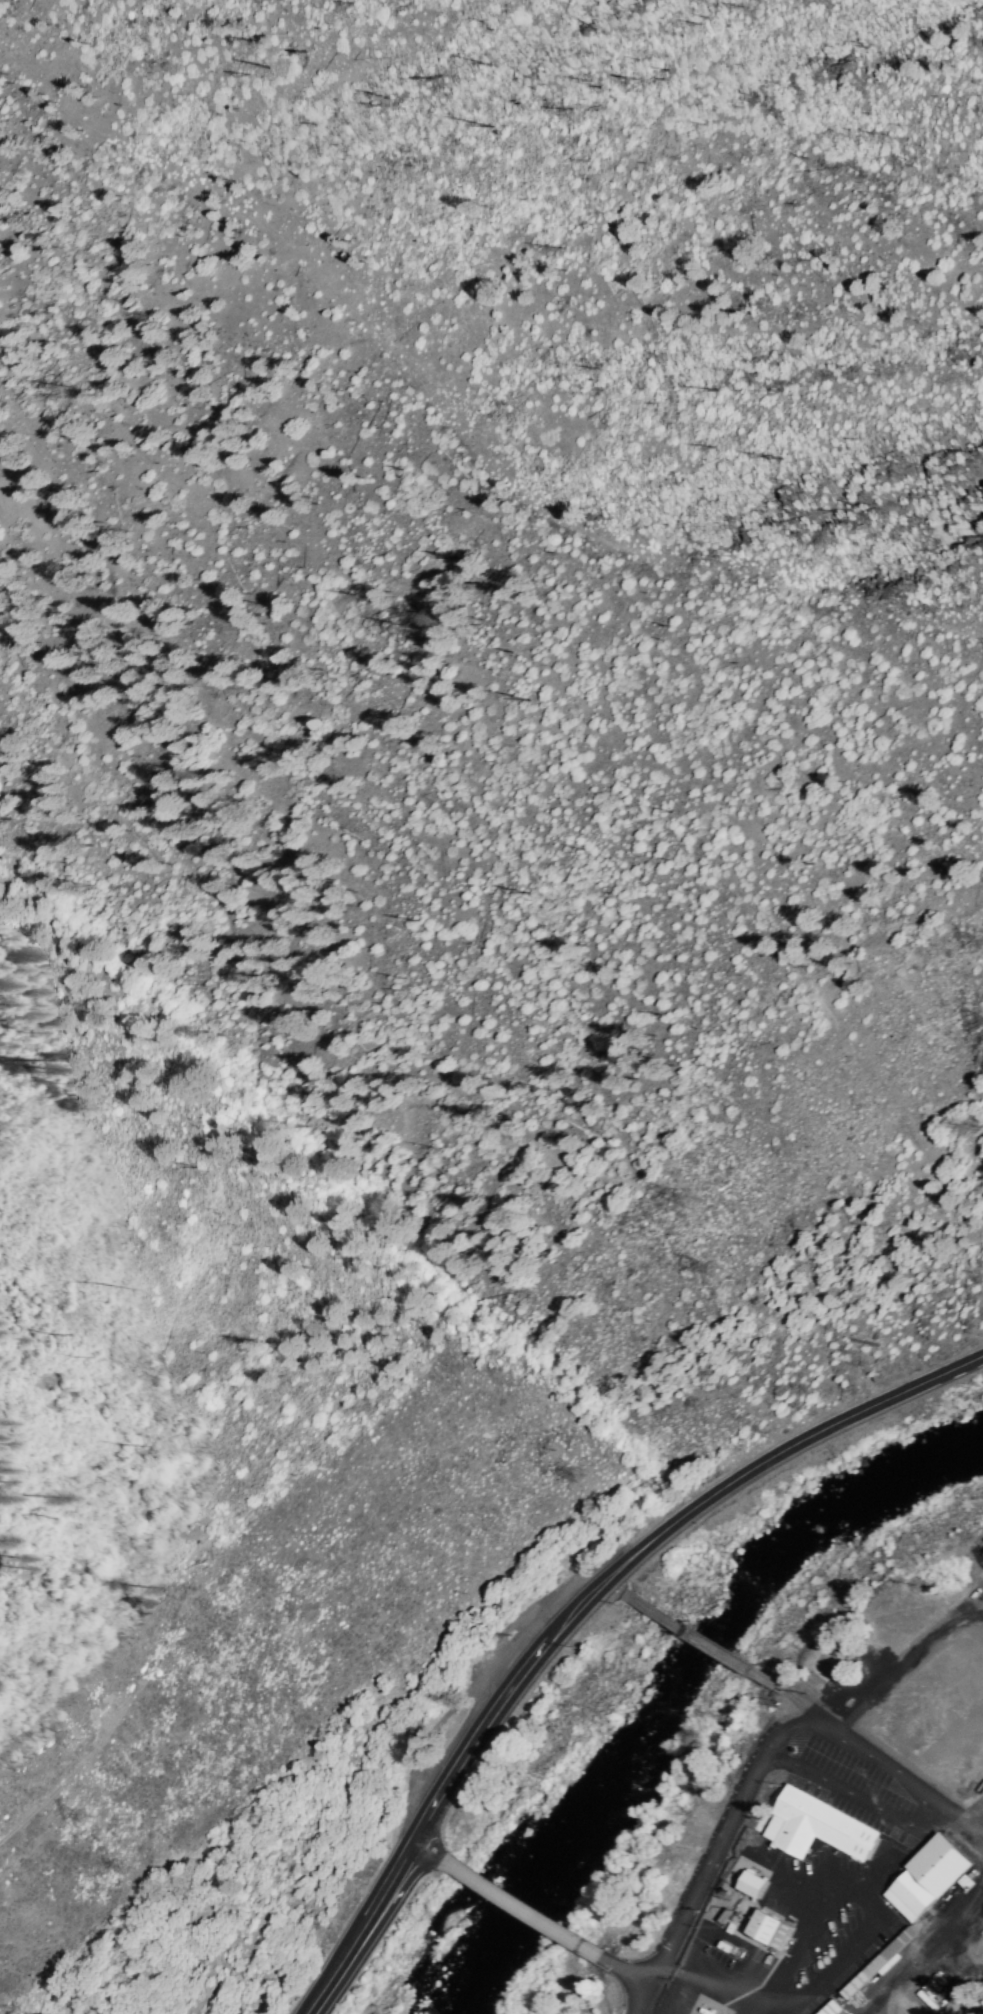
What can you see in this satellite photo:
power tower: (691, 1202)
power tower: (716, 1270)
road: (772, 1458)
power tower: (574, 1477)
river: (846, 1506)
road: (615, 1587)
road: (699, 1638)
road: (906, 1665)
road: (805, 1706)
power tower: (66, 1738)
road: (448, 1781)
road: (922, 1794)
road: (430, 1796)
road: (443, 1804)
road: (968, 1812)
river: (596, 1813)
power tower: (82, 1816)
building: (817, 1825)
road: (955, 1831)
road: (430, 1849)
power tower: (120, 1864)
building: (939, 1866)
building: (754, 1880)
road: (699, 1886)
building: (910, 1894)
road: (526, 1908)
building: (772, 1929)
road: (378, 1932)
road: (927, 1949)
building: (879, 1961)
road: (628, 1970)
building: (832, 2009)

